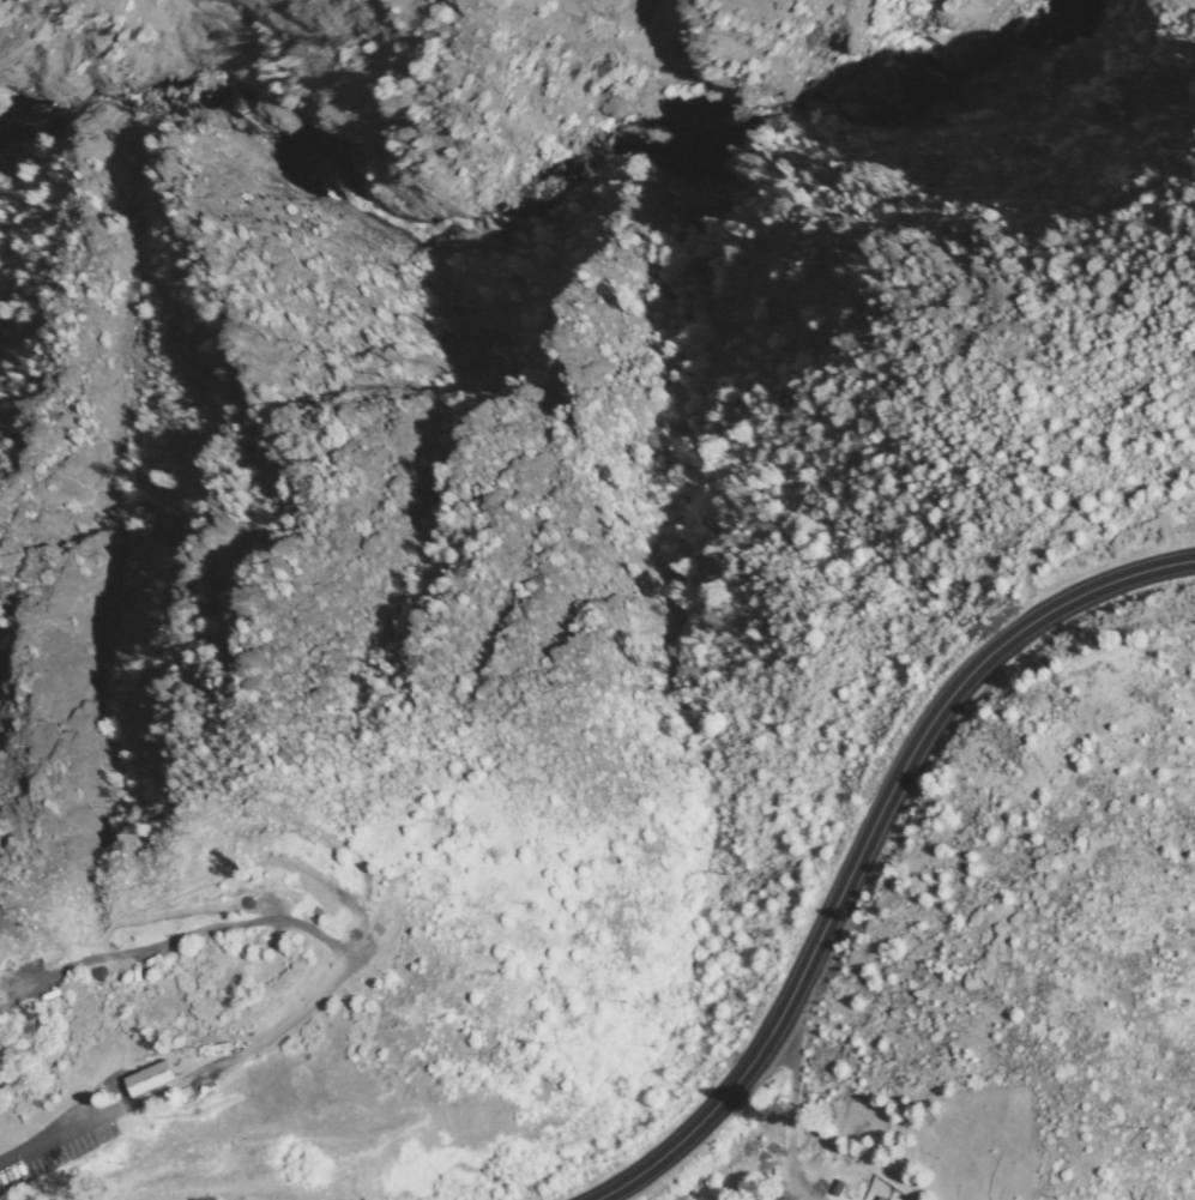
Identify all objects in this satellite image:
mineshaft: (976, 23)
road: (924, 28)
road: (973, 30)
road: (946, 35)
road: (988, 35)
river: (553, 175)
road: (862, 839)
power tower: (5, 931)
road: (343, 967)
building: (213, 1049)
building: (161, 1073)
road: (787, 1109)
building: (838, 1188)
building: (861, 1192)
building: (847, 1193)

